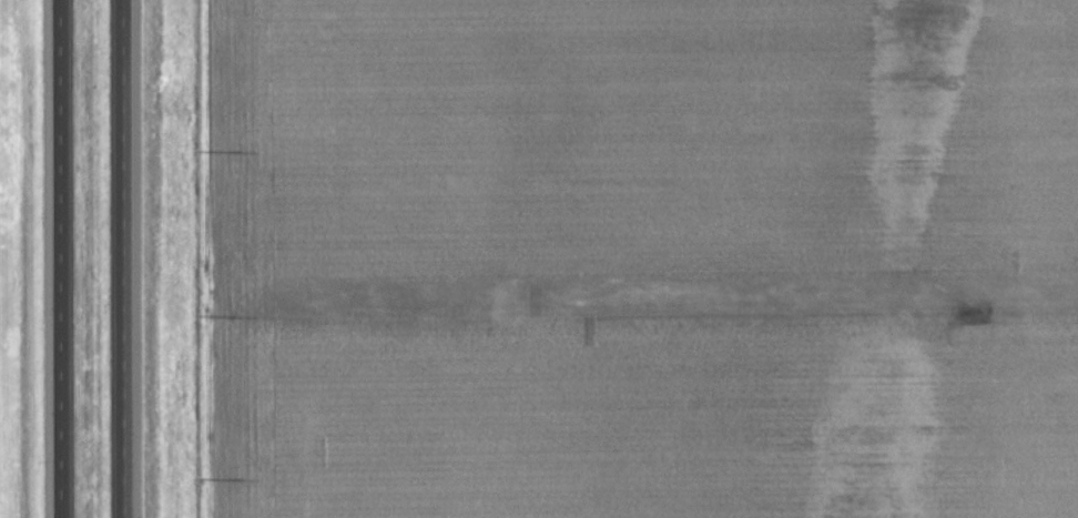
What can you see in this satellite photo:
road: (61, 258)
road: (124, 258)

